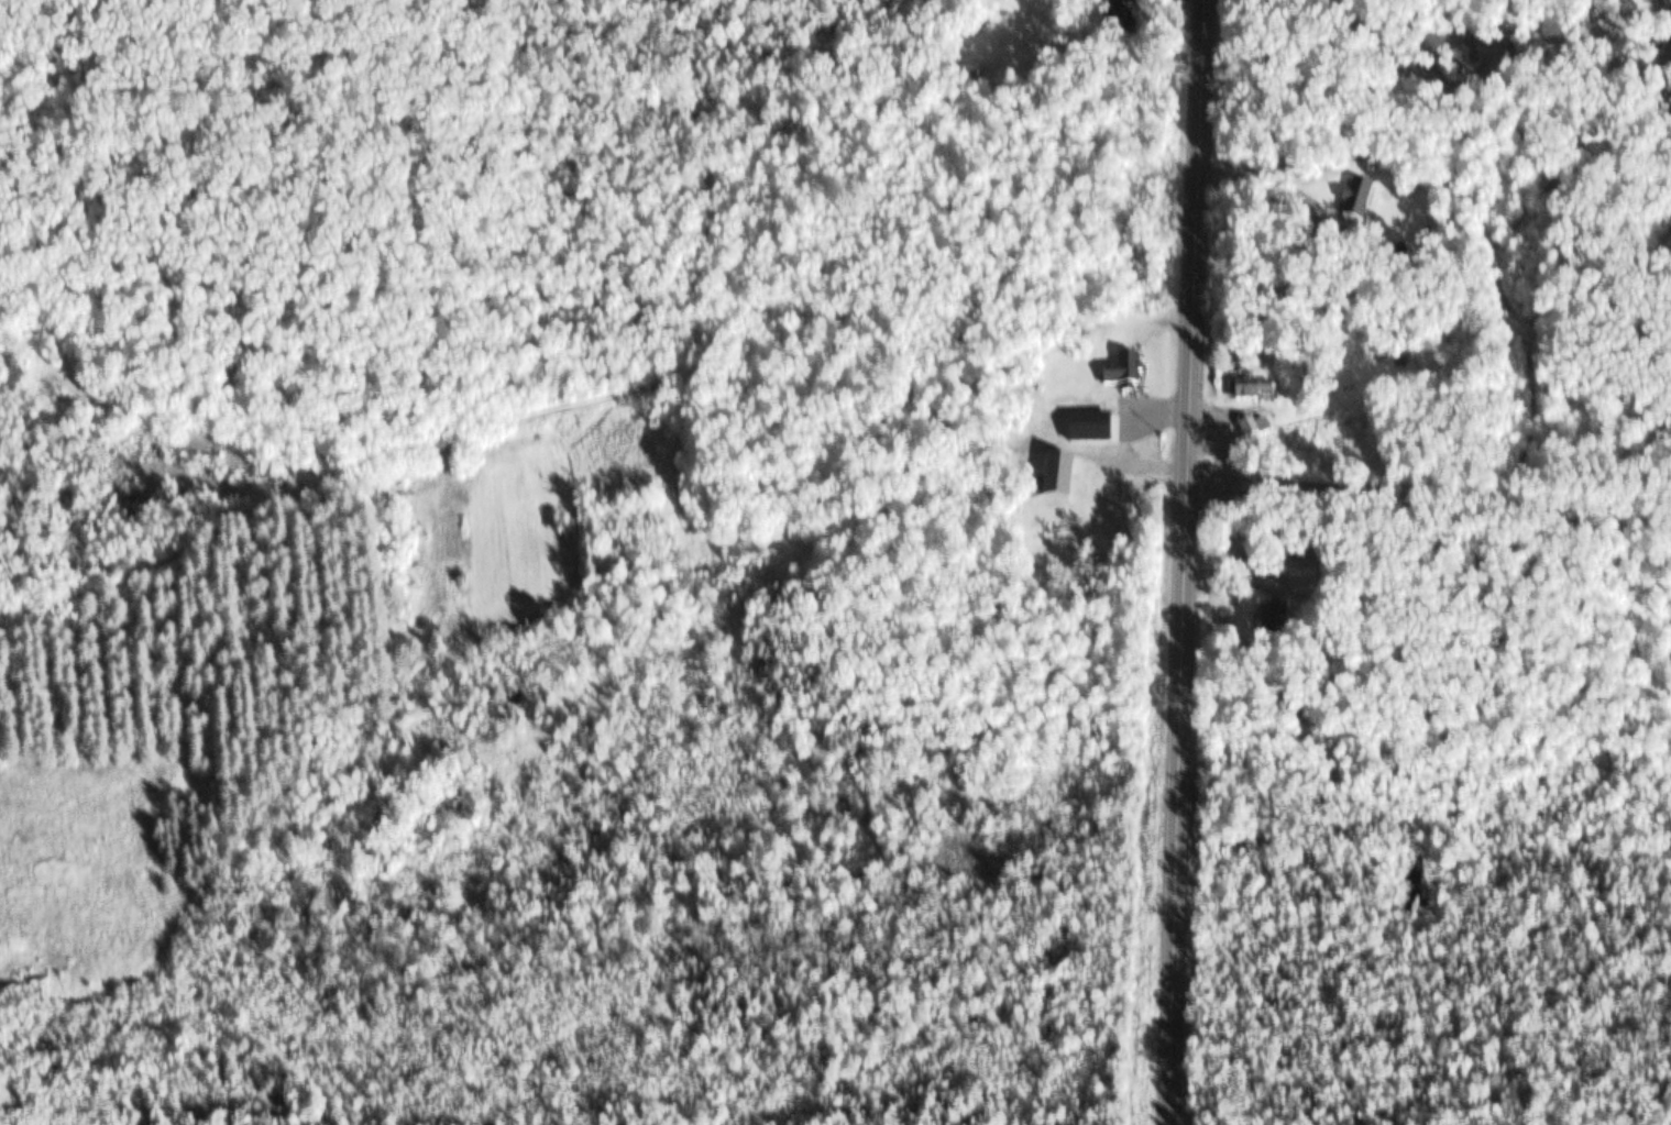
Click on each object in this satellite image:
building: (1141, 0)
building: (1669, 1)
building: (1475, 55)
building: (1077, 58)
building: (1363, 203)
building: (1126, 374)
building: (1255, 393)
building: (1257, 434)
building: (1104, 435)
building: (1065, 482)
road: (1429, 515)
road: (1185, 562)
building: (1278, 625)

